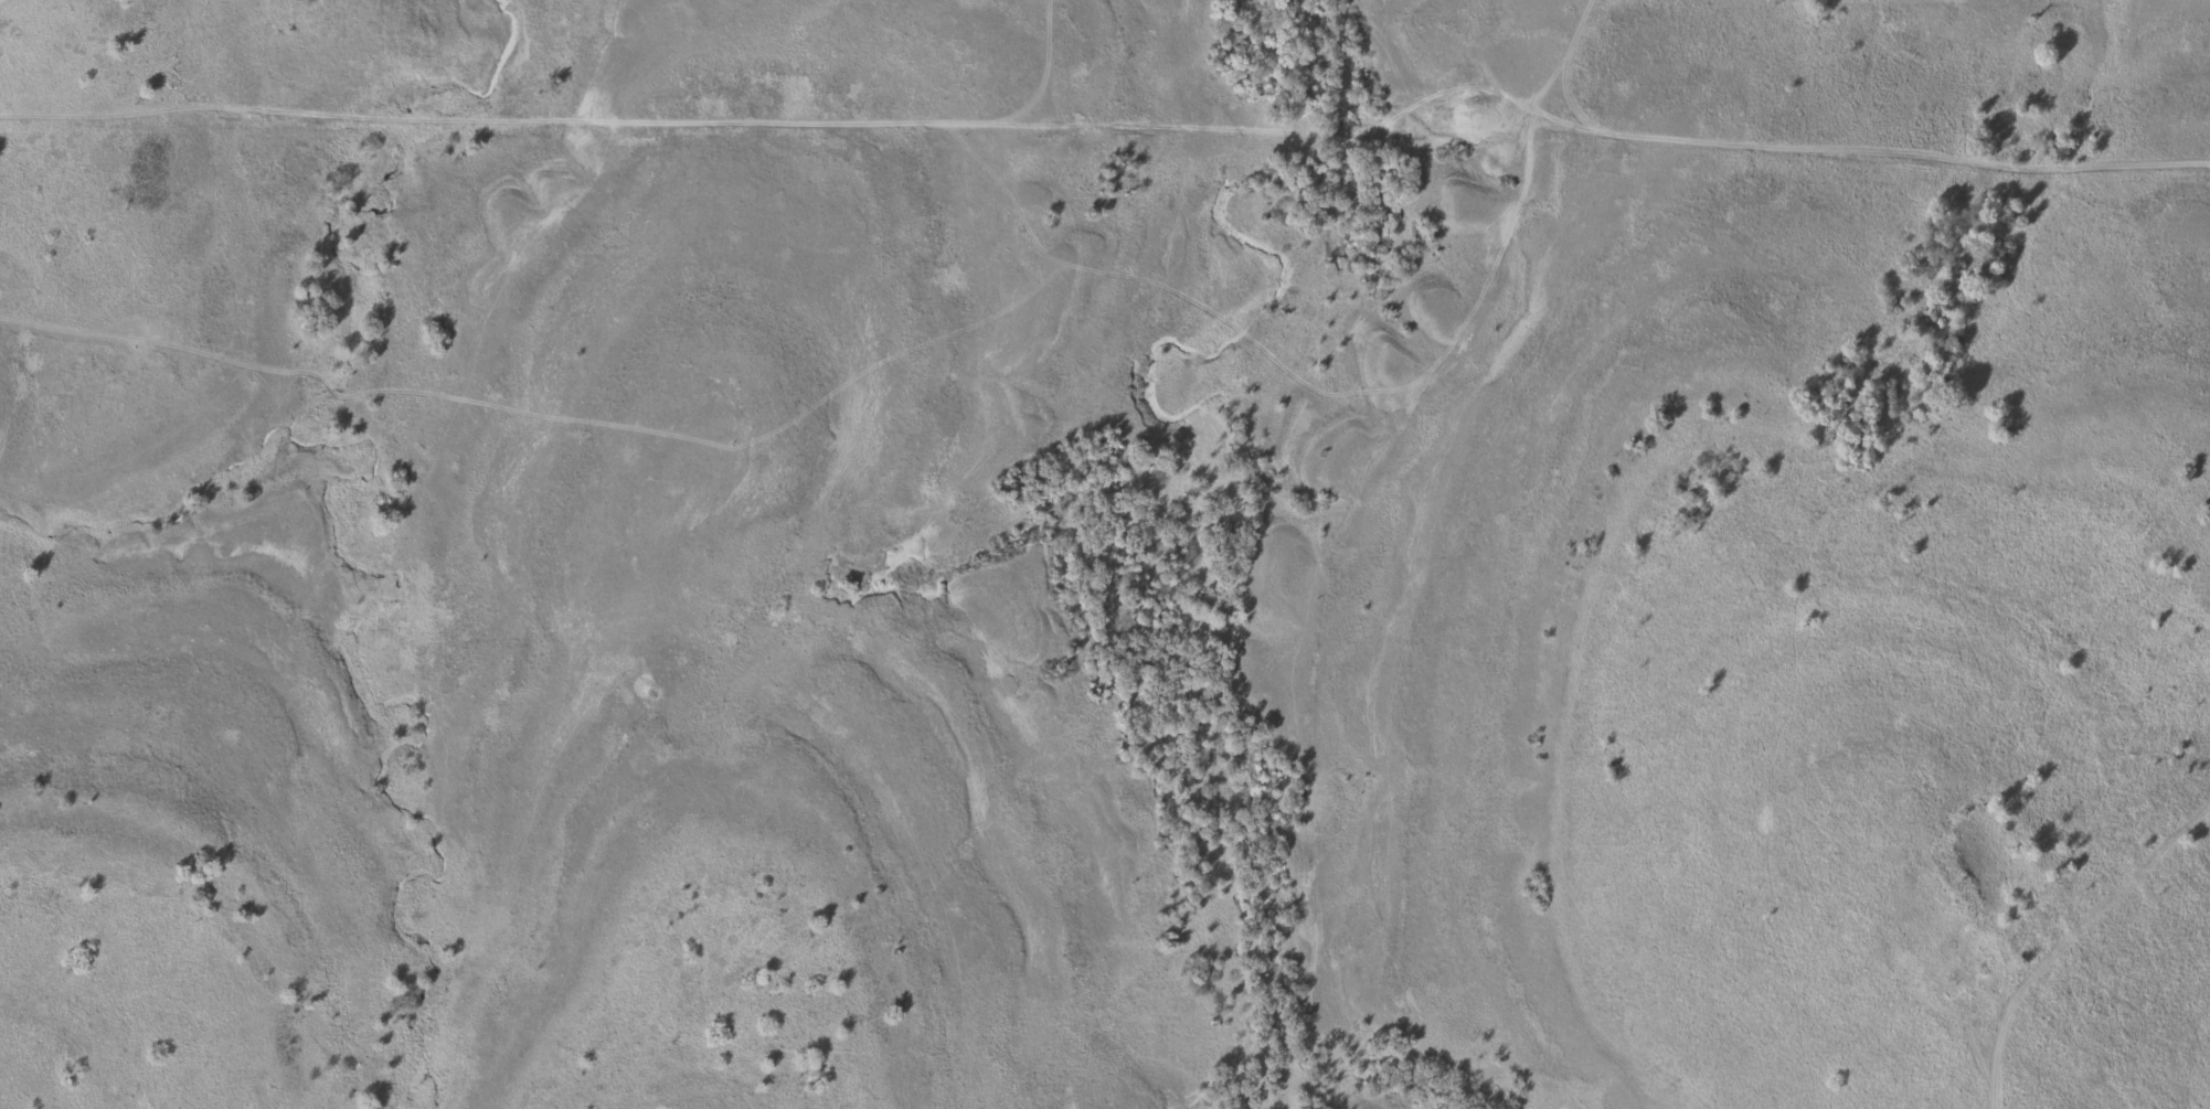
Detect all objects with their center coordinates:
road: (1981, 1059)

